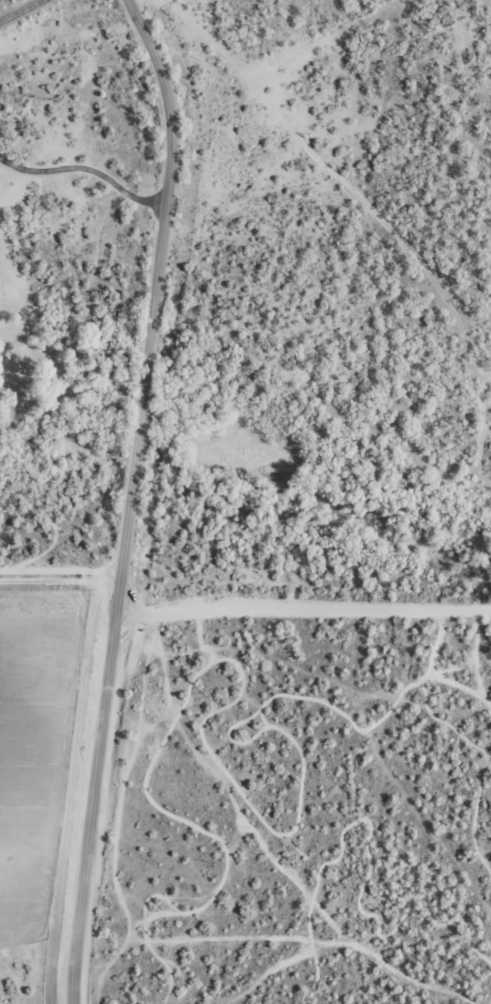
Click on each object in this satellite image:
railway: (19, 10)
road: (128, 498)
road: (302, 607)

